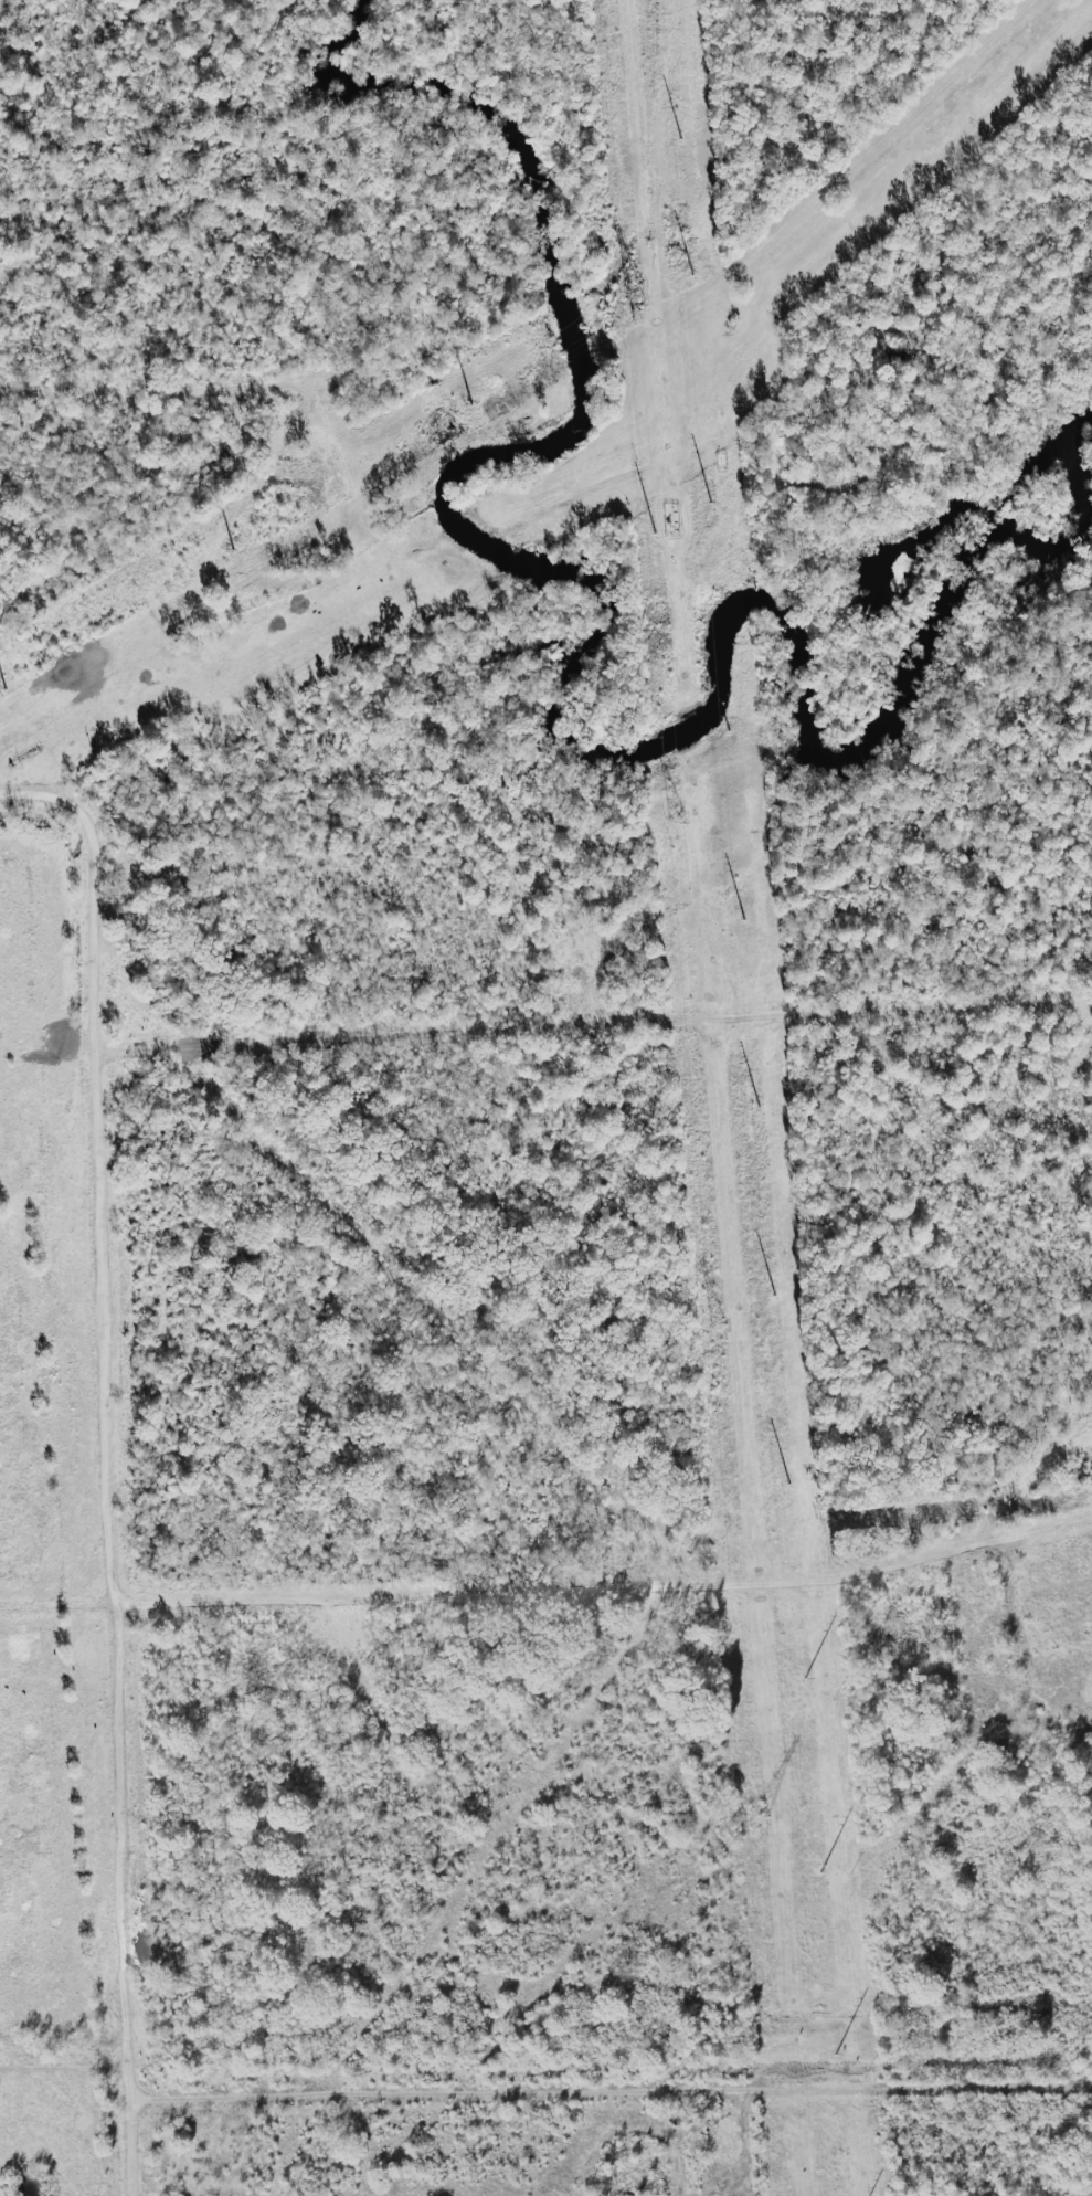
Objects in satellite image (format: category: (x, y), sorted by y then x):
power tower: (634, 293)
power tower: (636, 316)
road: (151, 384)
river: (577, 657)
power tower: (675, 815)
road: (444, 1033)
power tower: (718, 1322)
road: (106, 1460)
road: (608, 1591)
power tower: (761, 1816)
road: (63, 2059)
road: (611, 2093)

